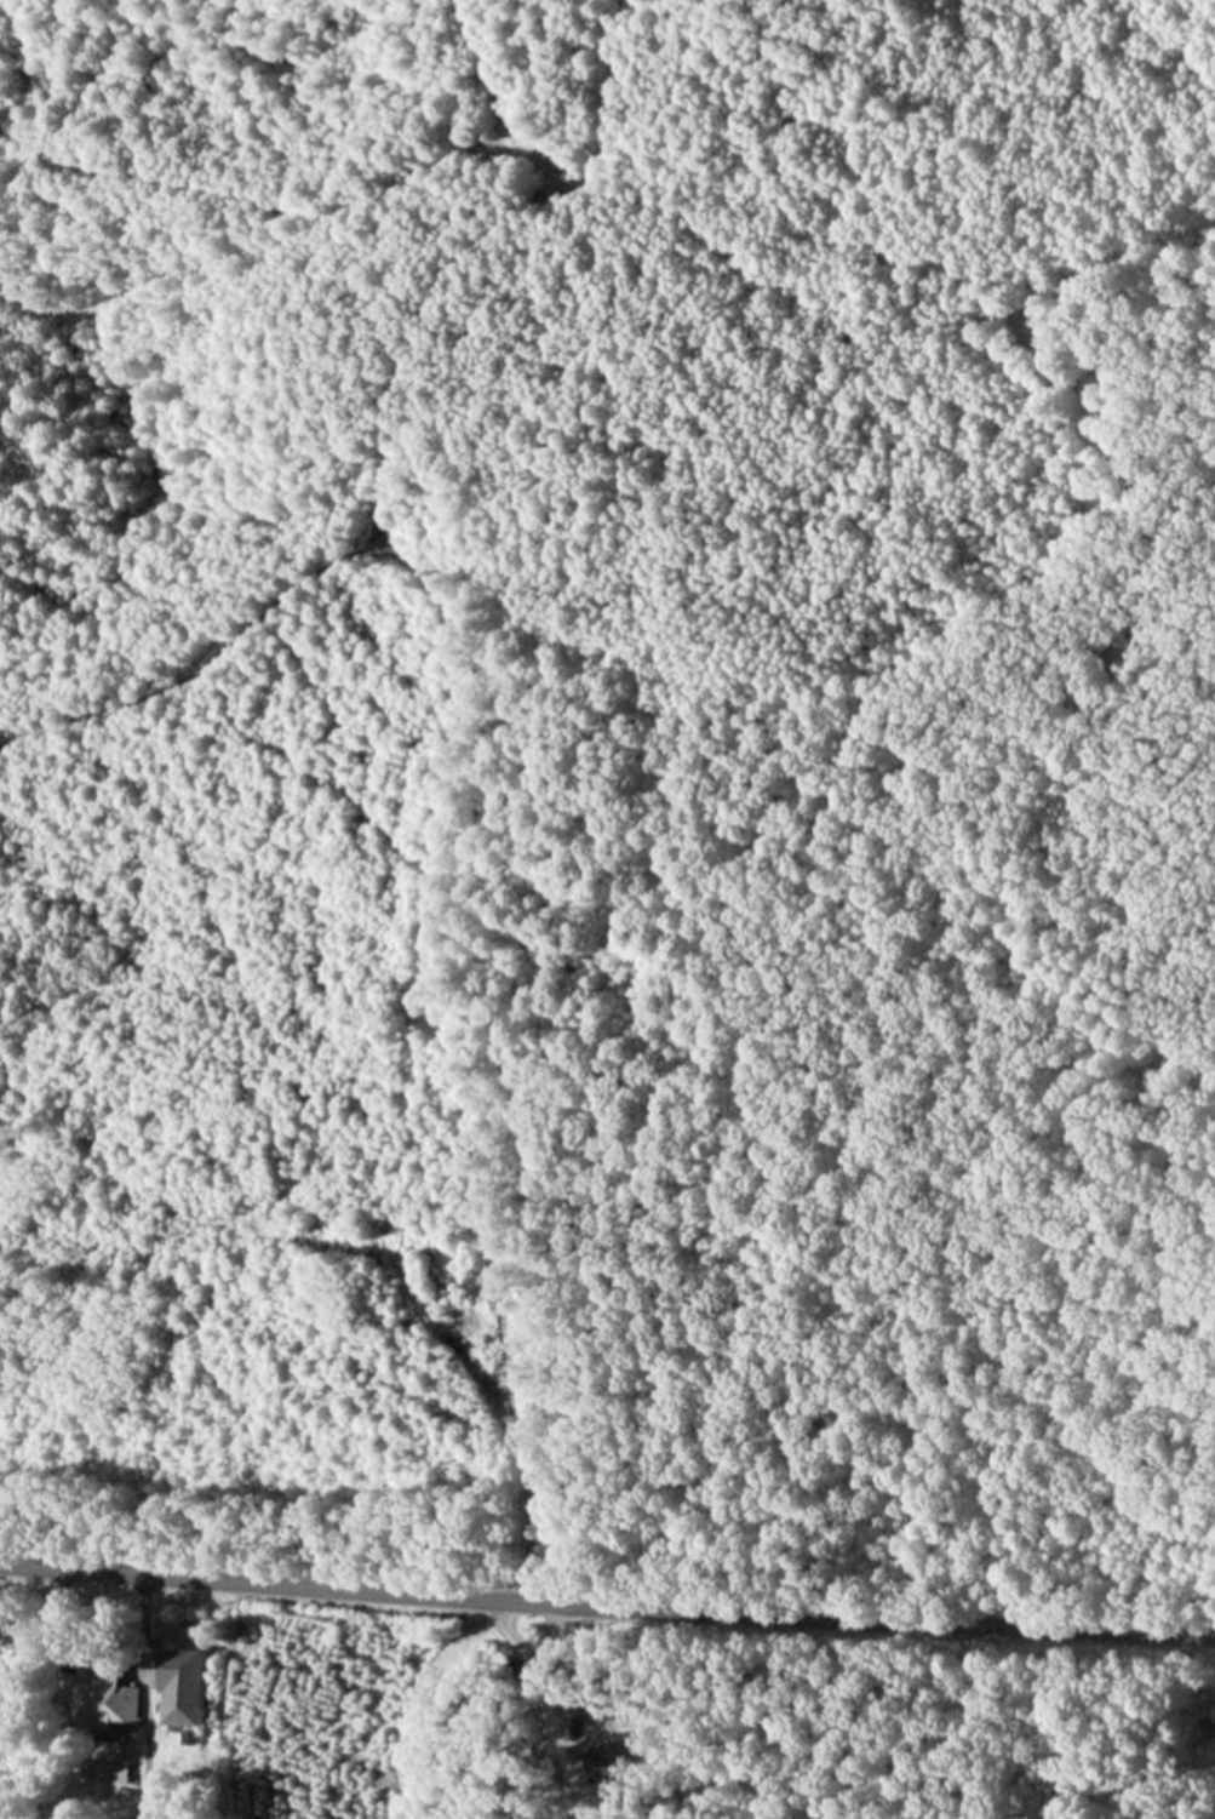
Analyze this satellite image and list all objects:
road: (607, 1606)
building: (187, 1687)
road: (144, 1698)
building: (105, 1699)
road: (543, 1710)

